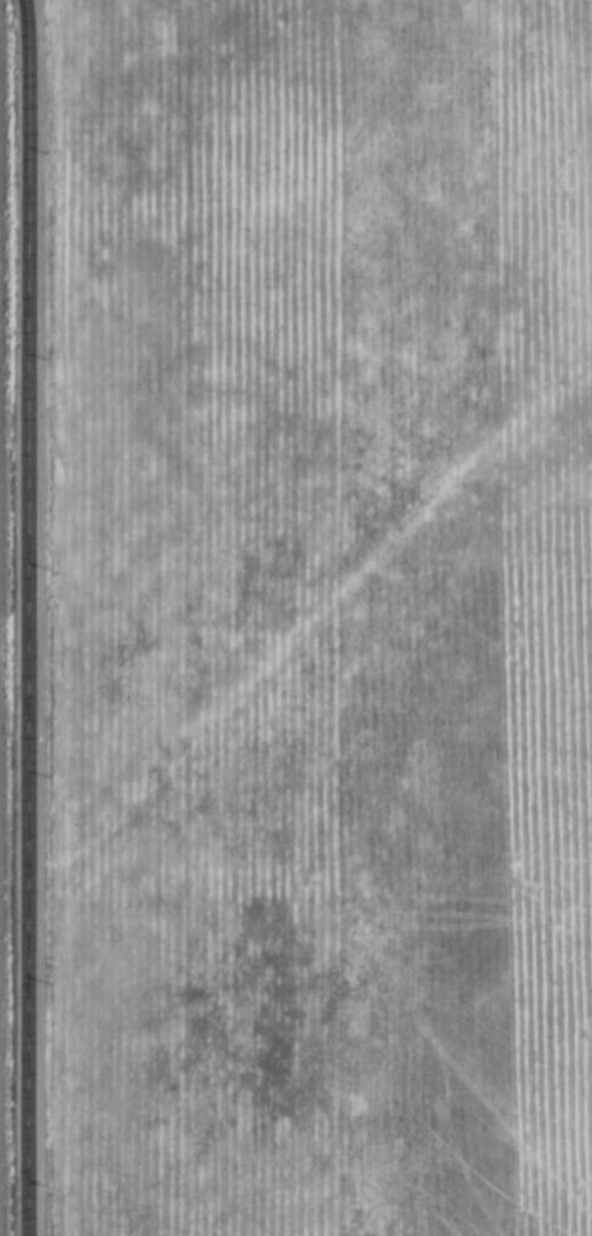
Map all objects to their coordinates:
road: (34, 617)
crop: (330, 617)
crop: (1, 685)

